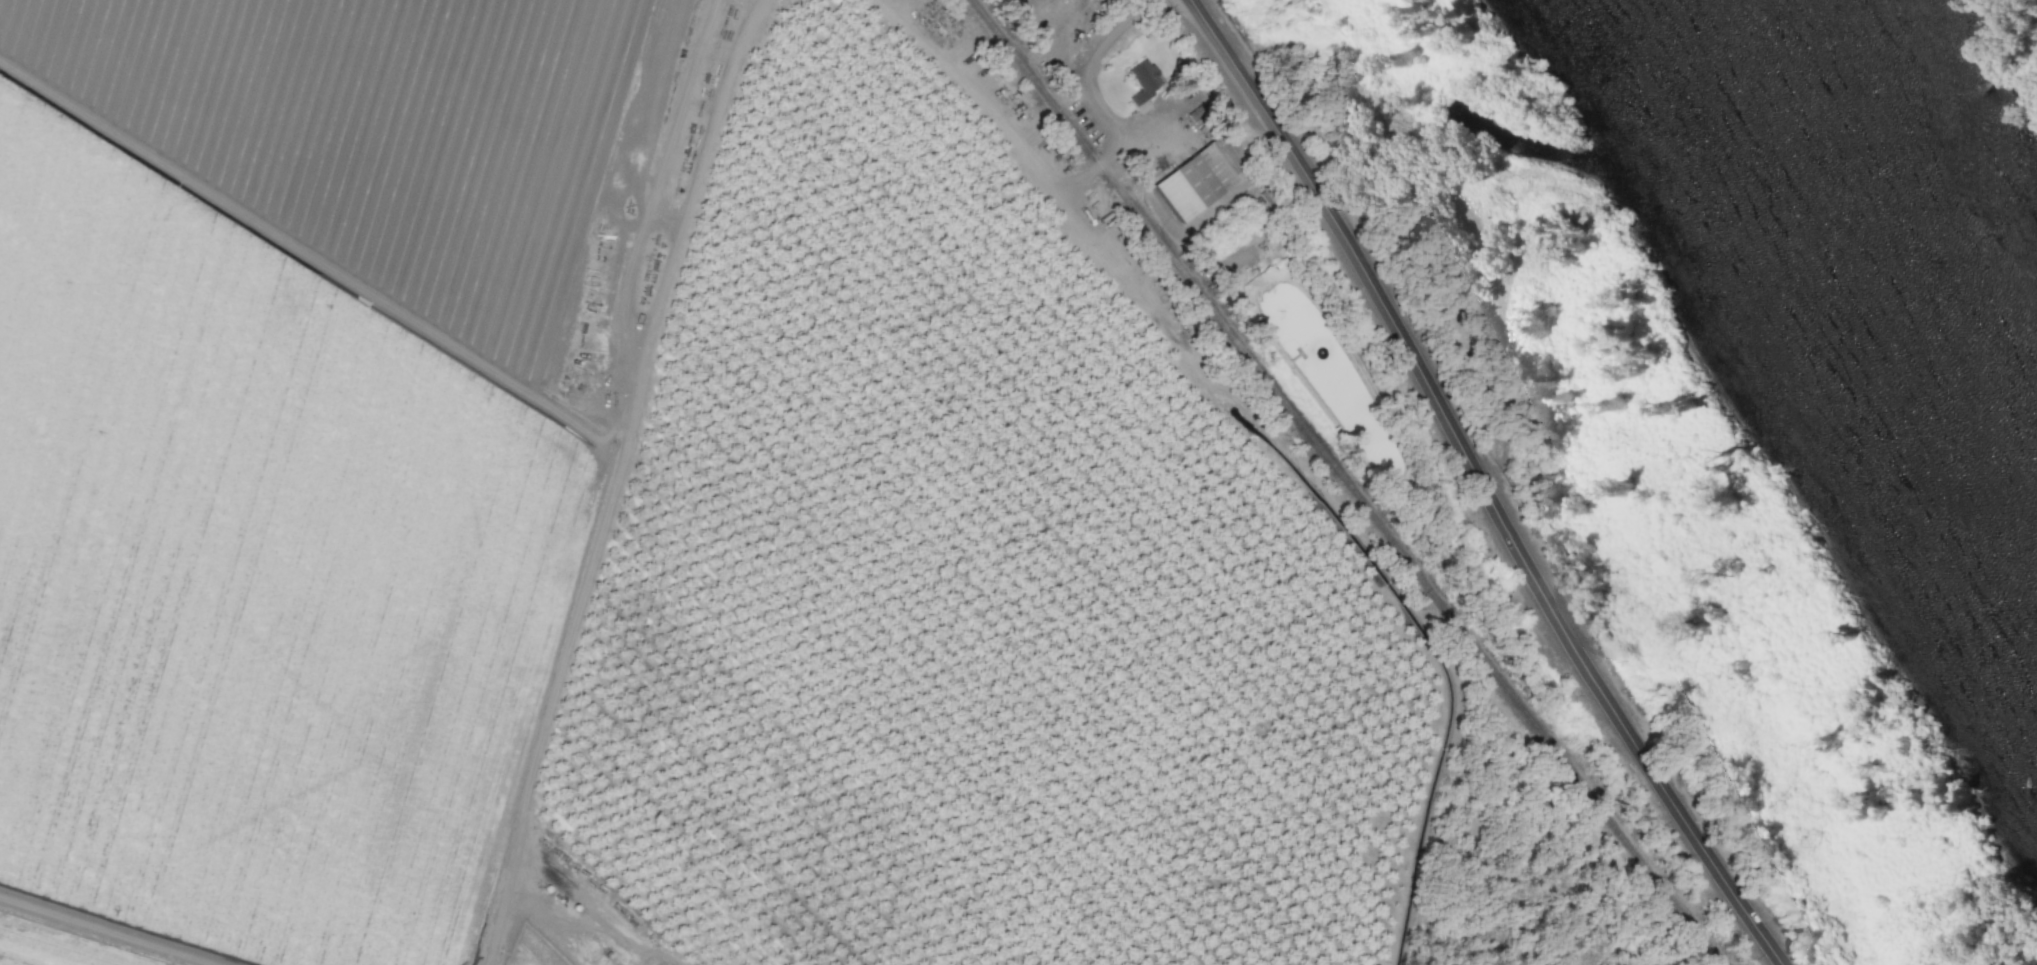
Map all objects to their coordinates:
road: (1099, 58)
building: (1142, 80)
road: (1121, 147)
building: (1194, 181)
road: (1058, 196)
river: (1904, 218)
road: (1167, 221)
railway: (1345, 482)
road: (1476, 483)
crop: (644, 517)

